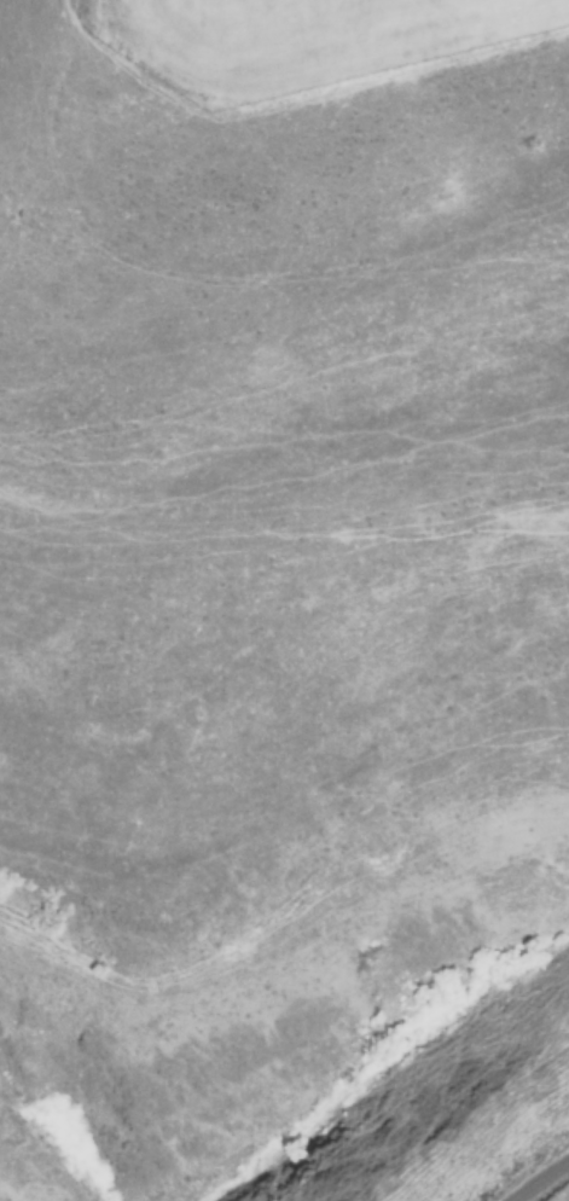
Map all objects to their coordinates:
road: (539, 1179)

